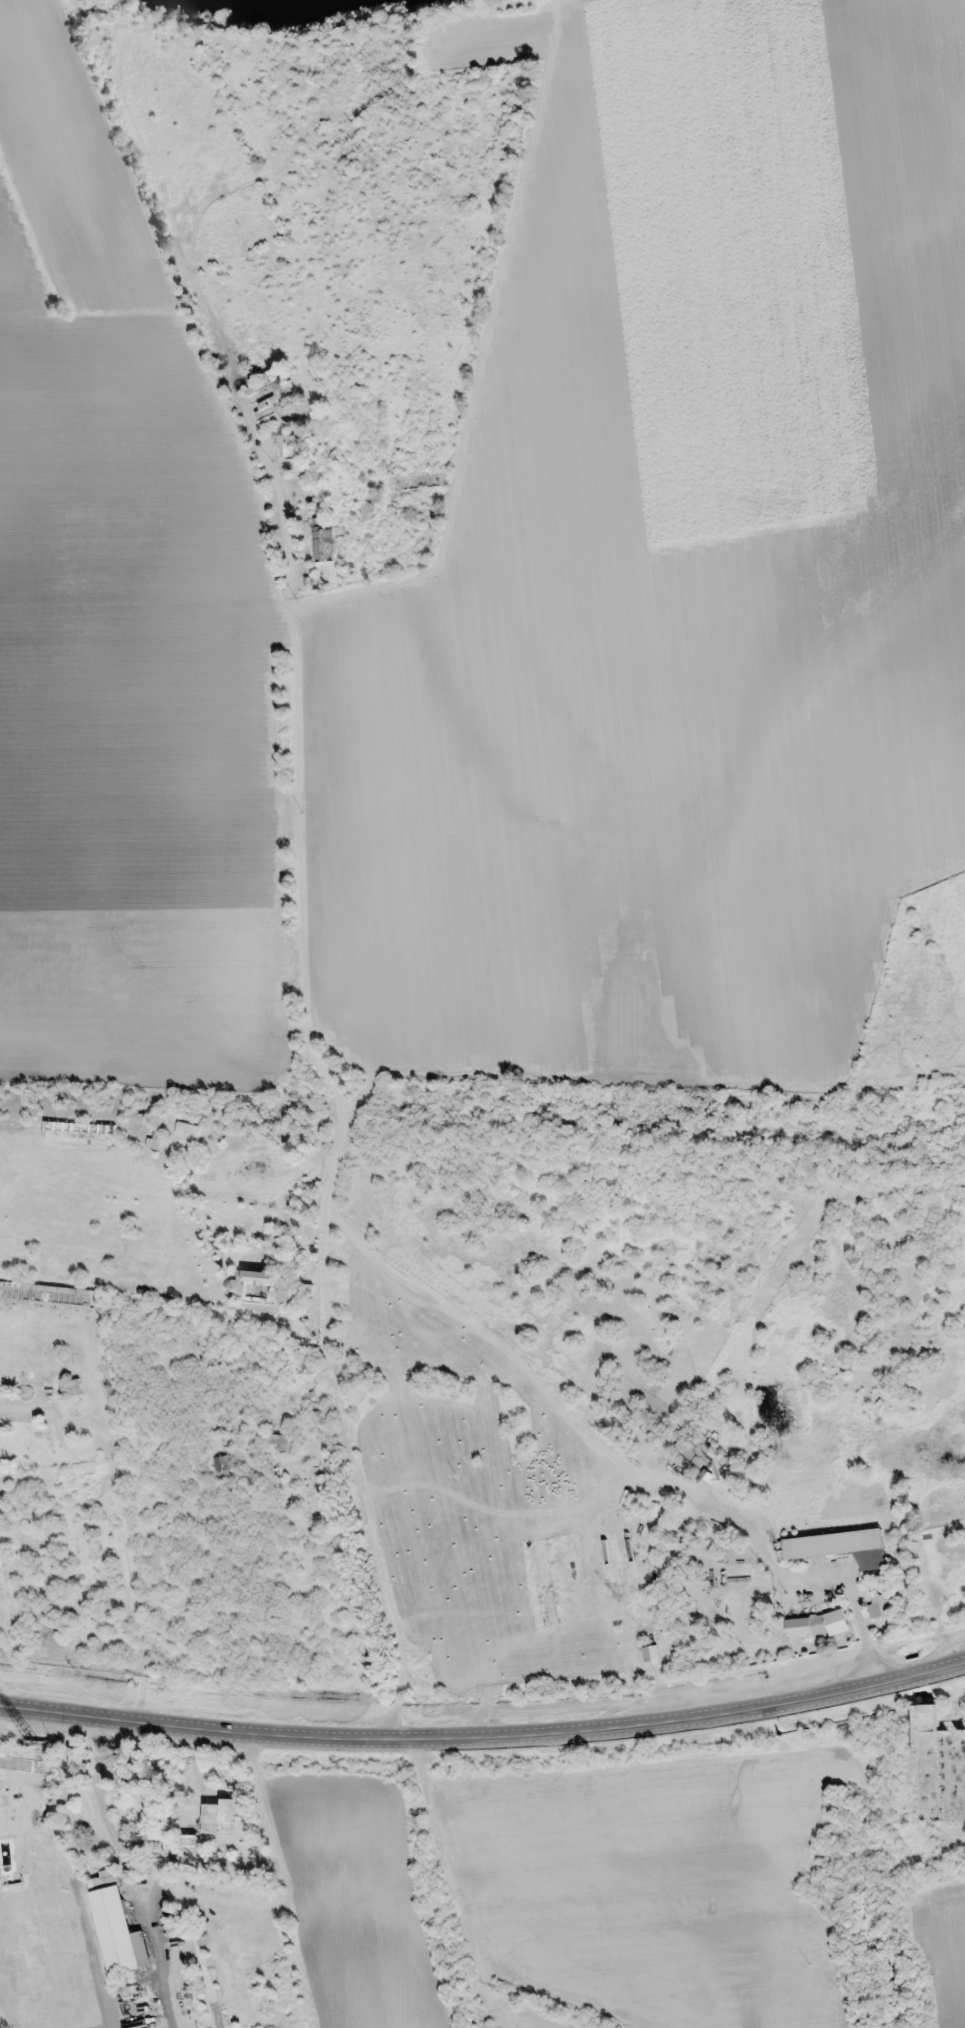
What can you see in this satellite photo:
building: (323, 544)
road: (302, 810)
road: (485, 1732)

